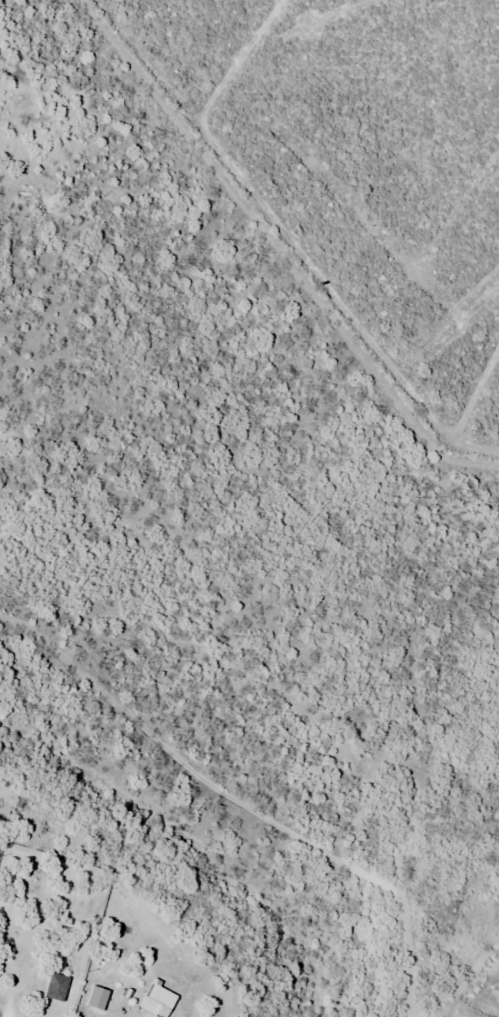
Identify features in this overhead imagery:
building: (57, 988)
building: (151, 1002)

